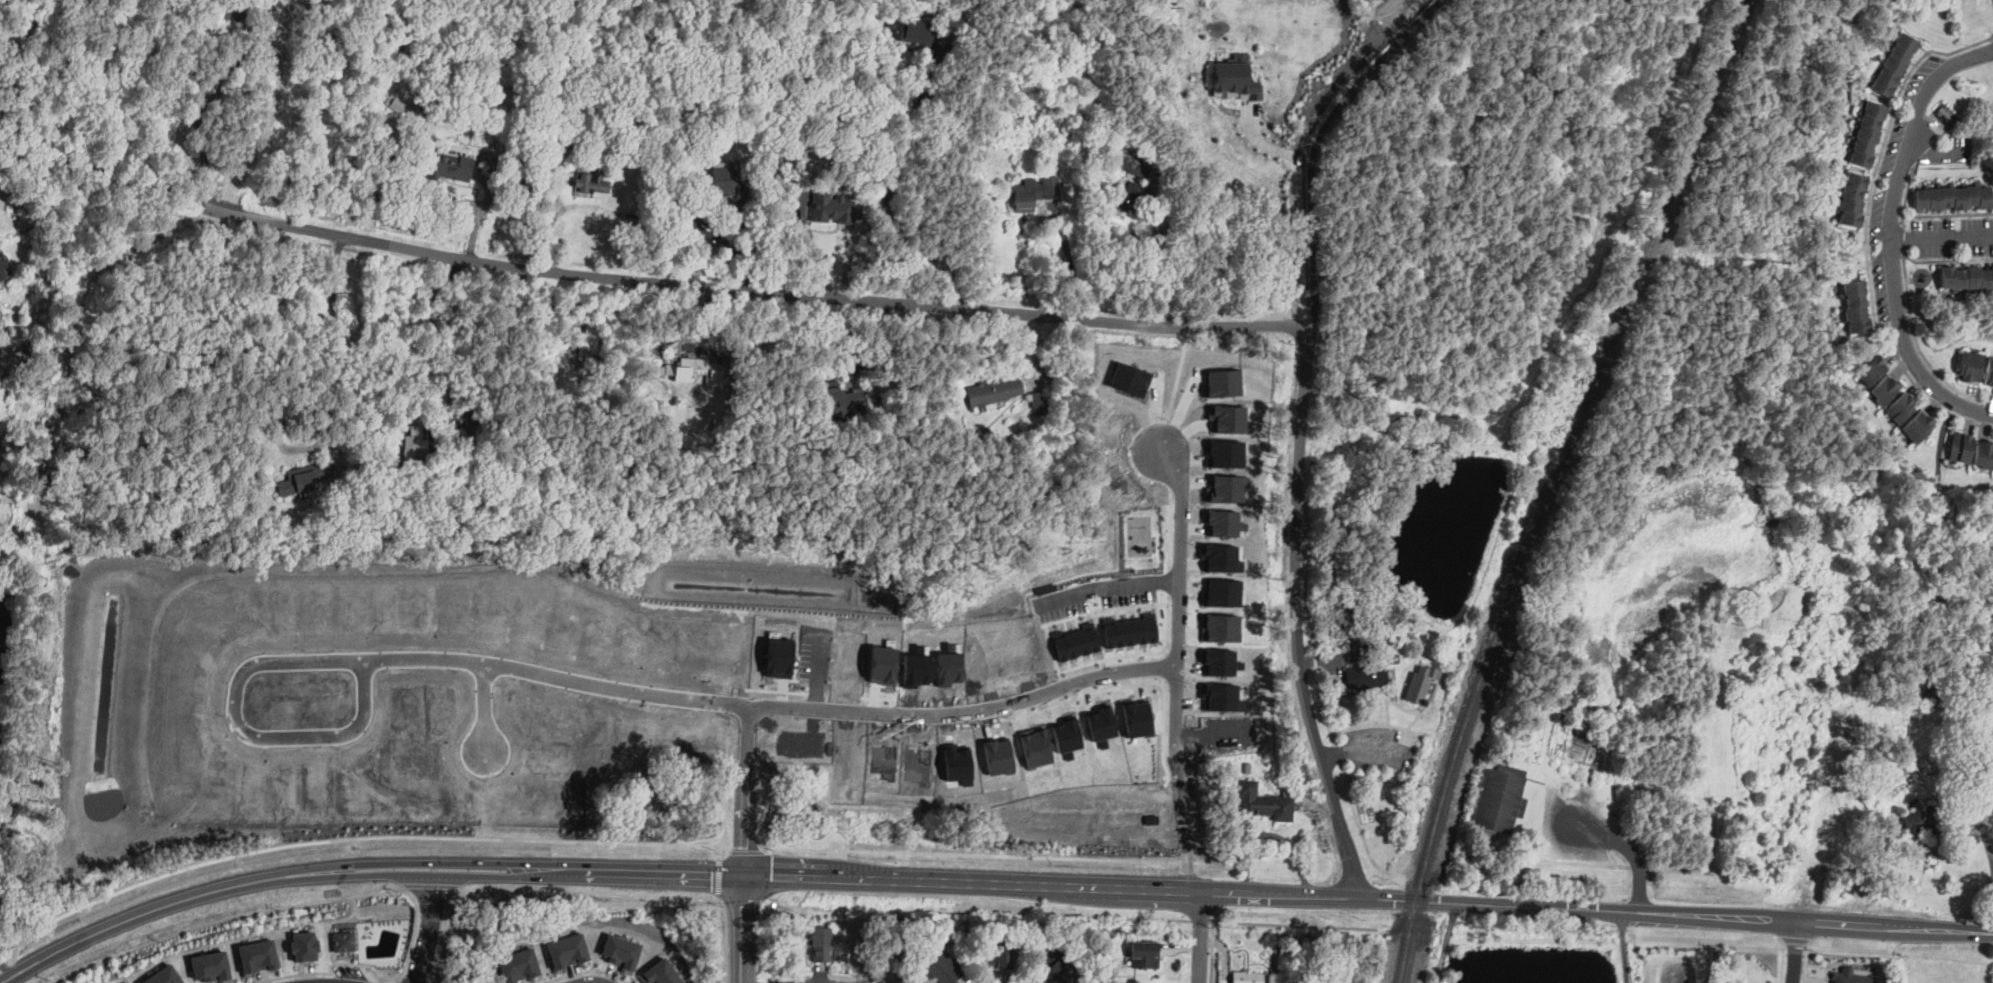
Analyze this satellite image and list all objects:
building: (235, 9)
building: (914, 33)
road: (1992, 36)
building: (232, 41)
building: (517, 42)
street lamp: (1965, 43)
building: (1893, 62)
building: (248, 65)
road: (1346, 72)
building: (1230, 77)
building: (510, 95)
building: (399, 102)
building: (428, 102)
building: (555, 117)
building: (673, 131)
building: (1866, 133)
road: (202, 141)
building: (579, 141)
road: (1316, 142)
road: (1937, 153)
building: (451, 163)
building: (1134, 163)
street lamp: (1918, 169)
road: (104, 177)
building: (724, 178)
road: (494, 179)
road: (889, 181)
building: (592, 182)
road: (1908, 188)
road: (550, 194)
building: (1132, 197)
building: (1021, 198)
building: (1851, 198)
building: (1954, 198)
building: (518, 203)
road: (1299, 204)
building: (836, 206)
building: (691, 220)
road: (1866, 232)
road: (1893, 232)
road: (1942, 236)
road: (1902, 238)
road: (749, 242)
street lamp: (1961, 246)
road: (1069, 259)
road: (1946, 259)
street lamp: (1866, 267)
building: (2, 272)
road: (1167, 277)
building: (1968, 277)
road: (756, 289)
building: (1856, 306)
building: (588, 341)
road: (444, 343)
road: (1919, 347)
road: (340, 348)
building: (1971, 366)
building: (1870, 369)
building: (698, 371)
building: (1989, 371)
street lamp: (1942, 372)
building: (1132, 376)
building: (1229, 378)
building: (1885, 388)
road: (1176, 389)
building: (994, 392)
building: (1039, 399)
building: (844, 401)
building: (1901, 407)
building: (34, 416)
building: (1231, 418)
building: (1918, 425)
building: (1420, 426)
road: (1686, 439)
road: (1941, 443)
road: (1337, 444)
building: (415, 445)
building: (1961, 446)
building: (1225, 453)
building: (1984, 453)
building: (305, 479)
railway: (1556, 485)
building: (1224, 488)
building: (1334, 489)
building: (1375, 507)
building: (1221, 522)
building: (1220, 557)
road: (1296, 572)
road: (1104, 584)
building: (1216, 590)
road: (1179, 598)
building: (486, 608)
building: (521, 616)
building: (1122, 624)
building: (1216, 624)
building: (559, 625)
building: (1069, 636)
building: (623, 637)
building: (656, 639)
building: (690, 646)
building: (1006, 649)
building: (771, 651)
building: (840, 653)
building: (975, 657)
building: (1215, 657)
building: (1394, 659)
building: (876, 660)
building: (910, 663)
building: (944, 663)
building: (1364, 670)
road: (585, 681)
building: (1420, 686)
building: (1216, 692)
building: (438, 702)
building: (399, 704)
road: (479, 705)
building: (1132, 715)
building: (547, 718)
building: (1096, 721)
street lamp: (1375, 722)
building: (1063, 733)
building: (1031, 746)
road: (1363, 748)
building: (994, 753)
building: (550, 756)
building: (845, 757)
building: (880, 761)
building: (953, 761)
building: (912, 762)
street lamp: (1375, 770)
building: (1282, 774)
road: (746, 788)
building: (429, 791)
building: (531, 793)
building: (1744, 798)
building: (1500, 800)
road: (481, 801)
building: (1265, 803)
building: (1148, 817)
building: (1922, 820)
road: (1183, 822)
road: (362, 848)
road: (1629, 852)
road: (967, 853)
road: (1349, 854)
road: (502, 862)
road: (502, 876)
road: (891, 879)
road: (431, 885)
road: (1120, 887)
road: (1256, 893)
road: (1332, 896)
road: (599, 902)
road: (1673, 914)
road: (1104, 917)
road: (226, 918)
road: (124, 919)
road: (1200, 920)
road: (1293, 924)
road: (1412, 927)
road: (744, 928)
road: (428, 929)
road: (442, 933)
building: (1388, 936)
road: (727, 937)
road: (1202, 937)
road: (1540, 937)
building: (344, 939)
road: (1795, 939)
road: (1708, 940)
road: (1444, 942)
building: (304, 944)
building: (820, 945)
road: (1622, 947)
road: (1852, 947)
building: (569, 950)
building: (622, 950)
road: (1212, 952)
road: (1796, 952)
building: (258, 953)
building: (999, 955)
building: (1144, 955)
building: (1058, 964)
building: (519, 965)
road: (370, 966)
building: (210, 967)
building: (940, 968)
road: (584, 971)
parking lot: (356, 972)
building: (664, 972)
building: (164, 976)
building: (1849, 976)
road: (382, 977)
building: (1247, 977)
road: (396, 980)
road: (804, 980)
road: (380, 981)
road: (399, 982)
road: (592, 982)

